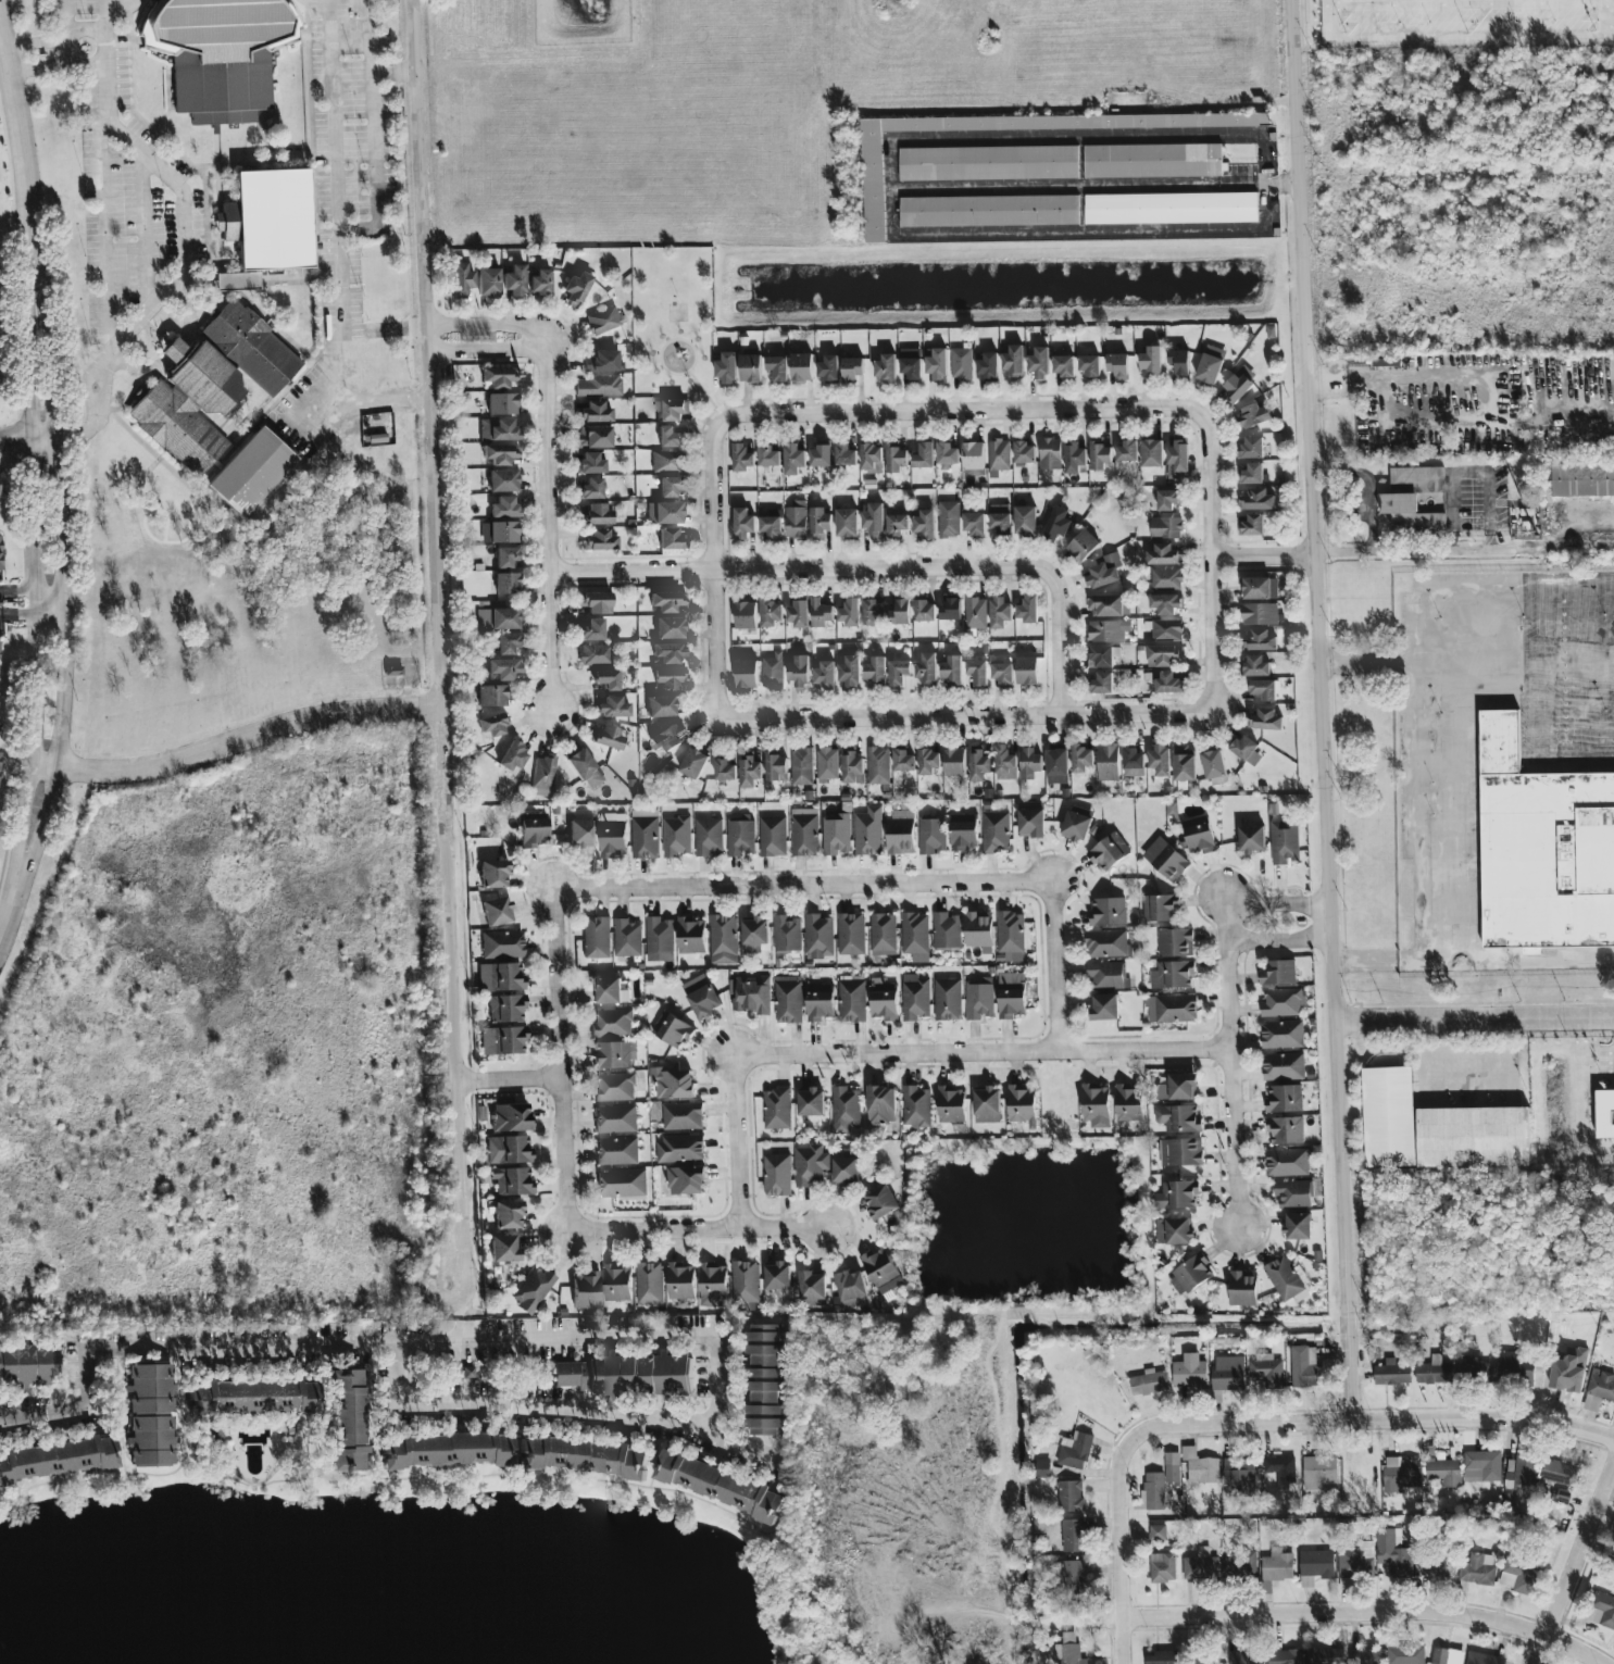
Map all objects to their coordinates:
road: (1604, 0)
road: (67, 1)
parking lot: (78, 1)
road: (103, 1)
road: (118, 2)
road: (1328, 2)
road: (1467, 3)
road: (72, 35)
road: (1467, 39)
road: (53, 40)
road: (364, 43)
building: (220, 53)
road: (89, 66)
road: (41, 70)
road: (330, 122)
parking lot: (356, 134)
road: (373, 147)
building: (1069, 177)
road: (1285, 184)
road: (891, 187)
building: (264, 216)
road: (1080, 232)
road: (101, 239)
parking lot: (126, 241)
road: (198, 241)
building: (461, 279)
building: (514, 280)
building: (233, 281)
building: (488, 281)
building: (540, 283)
building: (576, 288)
road: (191, 317)
road: (338, 318)
building: (604, 320)
road: (487, 328)
road: (174, 350)
road: (487, 352)
building: (601, 361)
building: (1151, 361)
building: (910, 362)
building: (1178, 362)
building: (961, 363)
building: (1013, 363)
building: (1039, 363)
building: (937, 364)
building: (1116, 364)
building: (987, 365)
building: (1063, 365)
building: (1089, 365)
building: (801, 366)
road: (143, 367)
building: (777, 367)
building: (852, 367)
building: (726, 368)
building: (750, 368)
building: (827, 368)
building: (885, 368)
building: (1209, 368)
building: (497, 377)
building: (208, 384)
building: (1238, 385)
building: (599, 386)
road: (1489, 393)
road: (352, 403)
building: (501, 403)
parking lot: (310, 405)
building: (671, 409)
building: (595, 413)
building: (1252, 416)
road: (966, 417)
building: (497, 429)
road: (22, 437)
building: (593, 437)
building: (670, 437)
building: (1251, 447)
building: (1126, 451)
building: (1151, 452)
building: (500, 453)
building: (821, 453)
building: (1024, 453)
building: (1050, 453)
building: (1100, 453)
building: (846, 454)
building: (973, 454)
building: (768, 455)
building: (923, 455)
building: (947, 455)
building: (999, 455)
building: (742, 456)
building: (1074, 456)
building: (871, 458)
building: (896, 458)
building: (1177, 458)
building: (793, 459)
building: (666, 461)
building: (591, 463)
building: (245, 472)
building: (1251, 473)
building: (1582, 478)
building: (503, 480)
building: (670, 486)
road: (1365, 486)
building: (590, 488)
road: (47, 495)
building: (1168, 499)
building: (1256, 500)
building: (1413, 501)
building: (504, 506)
building: (596, 513)
building: (664, 513)
building: (999, 517)
building: (948, 518)
building: (874, 520)
building: (1025, 520)
building: (795, 521)
building: (819, 522)
building: (743, 523)
building: (847, 523)
building: (973, 523)
building: (897, 524)
building: (1056, 524)
building: (923, 525)
building: (1251, 525)
road: (547, 526)
building: (771, 527)
building: (1165, 527)
building: (499, 531)
building: (671, 539)
building: (598, 541)
building: (1083, 546)
road: (1465, 547)
building: (1163, 554)
road: (1267, 555)
building: (505, 556)
building: (0, 562)
road: (1218, 571)
building: (1103, 572)
road: (718, 574)
road: (871, 574)
building: (1165, 578)
building: (505, 583)
building: (1260, 587)
road: (25, 591)
building: (666, 601)
building: (596, 602)
building: (1164, 603)
building: (1109, 605)
building: (1027, 609)
building: (924, 610)
building: (949, 610)
road: (26, 611)
building: (771, 612)
building: (821, 612)
building: (849, 612)
building: (873, 612)
building: (900, 612)
building: (975, 612)
building: (999, 612)
building: (797, 614)
building: (1259, 614)
building: (746, 615)
building: (497, 618)
building: (668, 628)
building: (1166, 629)
building: (591, 630)
building: (1108, 630)
building: (1259, 640)
road: (440, 642)
building: (506, 643)
building: (668, 652)
building: (593, 654)
building: (1164, 654)
building: (1101, 656)
road: (1369, 659)
building: (1255, 665)
building: (926, 667)
building: (502, 670)
building: (1027, 670)
building: (772, 671)
building: (849, 671)
building: (874, 671)
building: (952, 671)
building: (798, 672)
building: (977, 672)
building: (898, 673)
building: (1001, 673)
building: (747, 674)
building: (824, 675)
road: (1418, 677)
building: (670, 678)
building: (606, 679)
building: (1102, 683)
building: (1167, 683)
building: (1263, 689)
building: (491, 696)
road: (1544, 703)
building: (612, 706)
building: (660, 706)
road: (1324, 710)
building: (1264, 720)
road: (966, 721)
building: (492, 725)
building: (667, 737)
building: (610, 738)
road: (246, 739)
building: (1246, 749)
building: (512, 758)
building: (1081, 758)
building: (1159, 760)
building: (903, 761)
building: (929, 761)
building: (954, 762)
building: (1108, 762)
building: (1133, 762)
building: (693, 763)
building: (978, 763)
building: (1004, 763)
building: (1029, 763)
building: (1213, 763)
building: (826, 764)
building: (878, 765)
building: (1056, 765)
building: (776, 766)
building: (801, 766)
building: (852, 767)
building: (1184, 767)
building: (585, 768)
building: (724, 770)
building: (750, 772)
building: (1031, 822)
building: (1075, 826)
building: (533, 829)
building: (963, 830)
building: (804, 831)
building: (868, 831)
building: (900, 831)
building: (996, 831)
building: (581, 833)
building: (645, 834)
building: (836, 834)
building: (612, 835)
building: (931, 835)
building: (676, 836)
building: (708, 836)
building: (740, 836)
building: (772, 836)
building: (1200, 838)
building: (1251, 839)
building: (1284, 841)
building: (1541, 847)
building: (1108, 851)
building: (1166, 859)
building: (493, 873)
road: (799, 888)
road: (1279, 901)
building: (1160, 908)
building: (496, 911)
building: (1108, 911)
building: (946, 930)
building: (978, 930)
building: (754, 934)
building: (787, 934)
building: (850, 934)
building: (883, 934)
building: (690, 935)
building: (1010, 935)
building: (818, 936)
building: (915, 936)
building: (596, 937)
building: (627, 938)
building: (659, 939)
building: (723, 939)
building: (1175, 942)
building: (1106, 943)
building: (502, 944)
road: (1281, 946)
road: (1474, 959)
road: (1056, 968)
building: (1278, 973)
building: (1106, 974)
building: (1172, 974)
building: (500, 977)
road: (556, 986)
building: (609, 990)
building: (750, 993)
building: (1011, 994)
building: (701, 997)
building: (914, 997)
building: (979, 998)
building: (788, 999)
building: (851, 999)
building: (947, 999)
building: (884, 1000)
building: (1283, 1001)
building: (819, 1002)
building: (1104, 1006)
building: (1171, 1008)
building: (505, 1009)
road: (1476, 1018)
building: (612, 1023)
building: (672, 1028)
building: (1281, 1034)
building: (503, 1040)
road: (981, 1052)
building: (614, 1054)
road: (1465, 1060)
building: (1283, 1066)
road: (1228, 1067)
road: (509, 1080)
building: (672, 1083)
building: (1181, 1086)
building: (614, 1087)
building: (1284, 1098)
building: (811, 1102)
building: (1021, 1102)
building: (1128, 1103)
building: (881, 1104)
building: (951, 1104)
building: (986, 1104)
building: (1096, 1105)
building: (915, 1106)
building: (776, 1108)
building: (846, 1110)
building: (1604, 1113)
building: (681, 1115)
building: (1388, 1116)
building: (510, 1117)
building: (615, 1118)
building: (1178, 1118)
building: (1285, 1129)
building: (1473, 1137)
road: (738, 1142)
building: (679, 1148)
building: (508, 1150)
building: (616, 1151)
building: (1179, 1151)
road: (564, 1155)
building: (1287, 1162)
building: (810, 1165)
building: (846, 1166)
building: (776, 1174)
building: (686, 1180)
building: (512, 1181)
building: (621, 1183)
building: (1292, 1193)
building: (1177, 1194)
building: (880, 1202)
building: (506, 1215)
building: (1297, 1225)
road: (698, 1229)
building: (1174, 1230)
building: (504, 1248)
building: (881, 1271)
building: (1189, 1275)
building: (776, 1276)
building: (1285, 1278)
building: (680, 1280)
building: (745, 1281)
building: (617, 1283)
building: (649, 1283)
building: (713, 1284)
building: (850, 1285)
building: (1242, 1288)
building: (531, 1289)
building: (811, 1289)
building: (585, 1290)
road: (460, 1301)
building: (852, 1303)
road: (465, 1334)
road: (413, 1349)
building: (28, 1365)
building: (1303, 1366)
building: (1474, 1366)
building: (1517, 1366)
building: (1266, 1369)
building: (1434, 1371)
building: (1228, 1373)
building: (1391, 1373)
building: (565, 1374)
building: (1189, 1374)
building: (583, 1375)
building: (640, 1375)
building: (764, 1379)
building: (1148, 1383)
building: (1599, 1388)
building: (253, 1397)
road: (529, 1404)
building: (150, 1415)
building: (347, 1421)
road: (1373, 1421)
building: (445, 1450)
building: (1075, 1450)
building: (581, 1456)
building: (57, 1459)
building: (1481, 1465)
building: (1172, 1467)
building: (1042, 1468)
building: (1203, 1469)
building: (1280, 1469)
building: (1521, 1471)
building: (1318, 1472)
building: (1443, 1472)
building: (1559, 1472)
building: (1401, 1474)
building: (1239, 1477)
building: (718, 1484)
building: (1154, 1490)
building: (1069, 1496)
building: (1561, 1496)
building: (1158, 1532)
building: (1073, 1535)
road: (1118, 1549)
building: (1393, 1552)
road: (1574, 1561)
building: (1354, 1563)
building: (1435, 1564)
building: (1200, 1565)
building: (1277, 1565)
building: (1240, 1566)
building: (1315, 1566)
building: (1162, 1567)
building: (1478, 1568)
building: (1518, 1575)
building: (1071, 1577)
building: (1602, 1610)
road: (1323, 1612)
building: (1068, 1650)
building: (1325, 1655)
building: (1405, 1655)
building: (1285, 1656)
building: (1364, 1656)
building: (1446, 1656)
building: (1161, 1657)
building: (1242, 1659)
building: (1484, 1659)
building: (1199, 1660)

